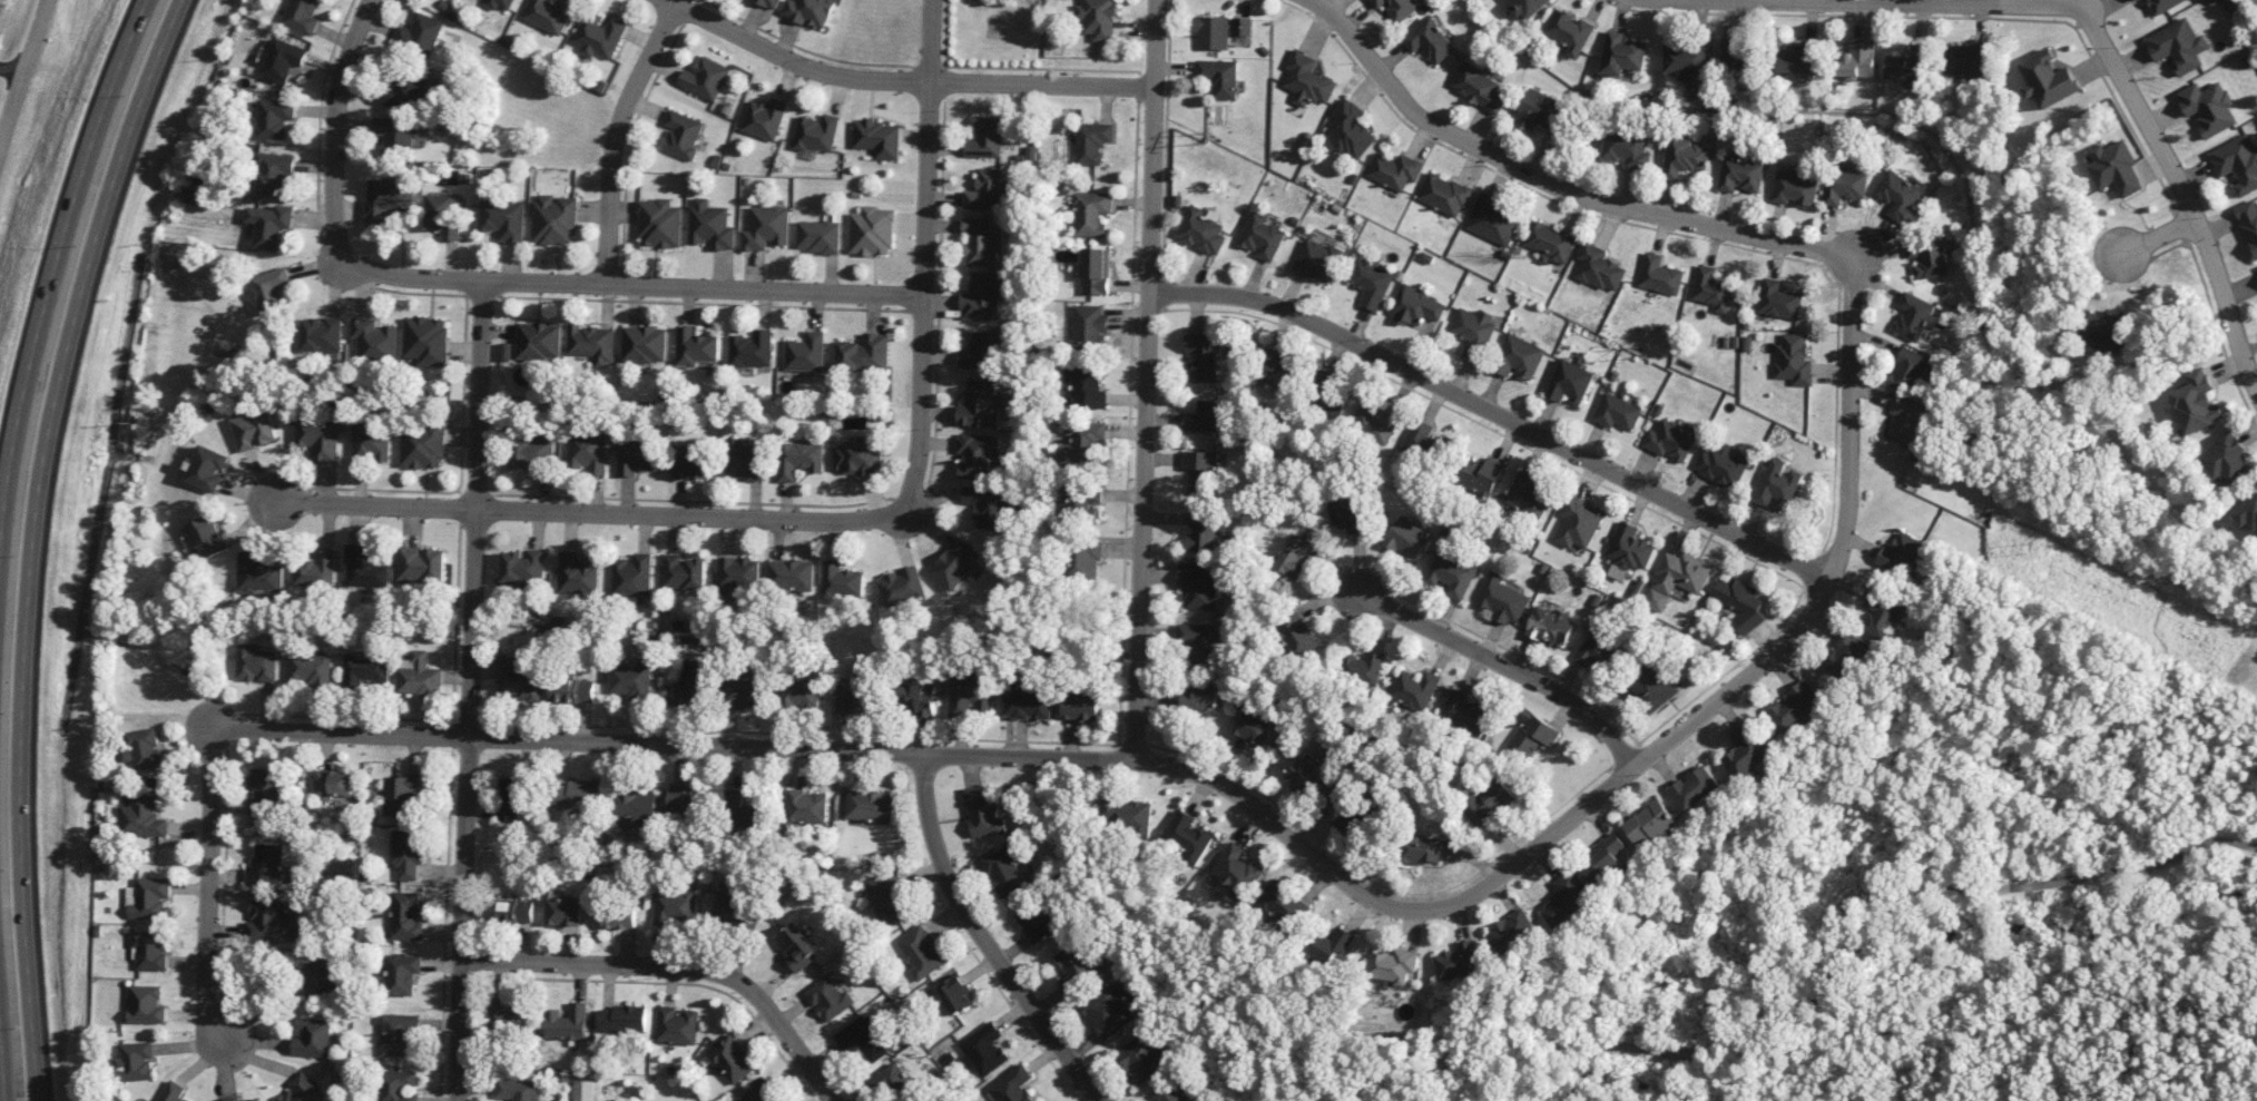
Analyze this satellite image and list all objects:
building: (2136, 0)
building: (771, 2)
road: (1894, 2)
building: (500, 3)
building: (2162, 4)
building: (1396, 8)
building: (1528, 9)
building: (809, 11)
building: (549, 14)
building: (302, 16)
building: (1097, 19)
building: (1240, 26)
building: (1211, 31)
building: (1571, 31)
building: (599, 35)
building: (420, 36)
building: (1431, 40)
building: (2178, 46)
building: (1625, 53)
building: (1739, 58)
building: (1800, 58)
building: (284, 59)
building: (1688, 59)
building: (1969, 59)
building: (1858, 60)
building: (1910, 65)
road: (13, 68)
road: (24, 75)
building: (1218, 77)
building: (705, 78)
road: (902, 79)
building: (2049, 79)
building: (1306, 80)
building: (1479, 87)
building: (403, 90)
building: (2208, 107)
building: (1537, 109)
building: (276, 118)
building: (764, 118)
road: (334, 129)
building: (1347, 130)
building: (817, 132)
building: (398, 134)
building: (681, 134)
road: (615, 137)
building: (988, 137)
building: (879, 138)
building: (1091, 141)
power tower: (1207, 141)
building: (1627, 149)
building: (1031, 153)
building: (1685, 157)
building: (2238, 163)
building: (2116, 168)
building: (1394, 171)
building: (275, 173)
building: (1740, 174)
road: (2175, 179)
road: (1551, 183)
building: (1844, 186)
building: (1795, 189)
building: (985, 190)
building: (1443, 194)
building: (1900, 197)
building: (386, 198)
building: (1090, 213)
building: (444, 215)
building: (503, 219)
building: (555, 219)
building: (1493, 220)
building: (2248, 223)
building: (659, 224)
building: (271, 225)
building: (710, 225)
building: (766, 227)
building: (1201, 229)
building: (872, 230)
building: (818, 236)
building: (1262, 236)
building: (981, 242)
building: (1549, 242)
road: (2145, 242)
road: (924, 256)
building: (1931, 257)
building: (1317, 260)
building: (1599, 267)
building: (1096, 271)
road: (57, 272)
building: (1659, 275)
building: (1371, 282)
road: (632, 284)
building: (272, 289)
building: (1711, 289)
building: (983, 296)
building: (1777, 299)
building: (1416, 306)
building: (1915, 316)
building: (1088, 326)
building: (1473, 331)
building: (2106, 332)
building: (322, 334)
building: (426, 340)
building: (375, 341)
building: (539, 341)
building: (592, 343)
building: (645, 344)
building: (696, 347)
building: (752, 348)
building: (982, 348)
building: (806, 352)
building: (864, 353)
power tower: (1631, 353)
building: (1201, 356)
building: (1518, 356)
building: (1793, 360)
building: (1278, 370)
building: (1910, 371)
road: (1145, 380)
building: (1569, 381)
building: (1085, 386)
building: (2197, 403)
building: (980, 404)
building: (1331, 404)
road: (1494, 411)
building: (1617, 412)
building: (1204, 416)
road: (1847, 420)
building: (1376, 422)
building: (1908, 422)
building: (255, 430)
building: (321, 438)
building: (1668, 441)
building: (371, 442)
building: (1081, 442)
building: (1420, 442)
building: (423, 445)
building: (532, 452)
building: (588, 452)
building: (637, 455)
building: (975, 455)
building: (858, 456)
building: (799, 459)
building: (693, 460)
building: (744, 460)
building: (2226, 460)
building: (1723, 464)
building: (208, 468)
building: (1200, 470)
building: (1479, 474)
building: (1777, 484)
building: (1528, 494)
building: (1081, 501)
building: (989, 505)
road: (578, 511)
building: (2247, 513)
building: (1346, 517)
building: (1578, 522)
building: (207, 537)
building: (1406, 538)
road: (38, 540)
power tower: (2025, 549)
building: (1628, 551)
building: (1901, 553)
building: (1294, 557)
building: (1083, 559)
building: (956, 563)
building: (421, 564)
building: (365, 568)
building: (523, 568)
building: (317, 570)
building: (684, 572)
building: (738, 573)
building: (259, 574)
building: (577, 574)
building: (792, 574)
building: (1451, 574)
building: (631, 576)
building: (1677, 578)
building: (843, 581)
building: (1197, 586)
building: (904, 587)
building: (1502, 599)
building: (1741, 602)
building: (1880, 615)
building: (1550, 625)
building: (1298, 635)
building: (1200, 640)
building: (1598, 651)
building: (1847, 656)
road: (1493, 658)
building: (256, 663)
building: (1363, 668)
building: (313, 670)
building: (364, 670)
building: (418, 675)
building: (517, 679)
building: (630, 679)
building: (690, 682)
building: (1655, 687)
road: (470, 689)
building: (1415, 689)
building: (572, 690)
building: (742, 692)
building: (798, 692)
building: (971, 692)
building: (850, 694)
building: (916, 698)
building: (1200, 698)
building: (1029, 702)
building: (1081, 706)
building: (1795, 706)
building: (1465, 711)
building: (1254, 728)
building: (1532, 734)
building: (143, 747)
building: (1747, 753)
road: (1106, 759)
building: (1302, 777)
building: (334, 784)
building: (1694, 788)
building: (265, 792)
building: (400, 794)
building: (578, 795)
building: (510, 798)
building: (685, 799)
building: (1489, 803)
building: (632, 806)
building: (806, 806)
building: (869, 806)
building: (739, 812)
building: (983, 813)
building: (1342, 814)
building: (1129, 815)
building: (143, 817)
building: (1650, 824)
building: (1188, 835)
building: (1421, 849)
building: (408, 853)
building: (1602, 859)
building: (266, 865)
building: (1238, 869)
building: (1003, 871)
road: (1870, 895)
building: (149, 897)
building: (886, 897)
building: (1567, 897)
road: (207, 898)
building: (1286, 904)
building: (674, 907)
building: (511, 911)
building: (732, 911)
building: (565, 912)
building: (406, 916)
building: (619, 916)
building: (268, 918)
building: (1037, 921)
building: (1511, 931)
road: (981, 938)
building: (1332, 945)
building: (796, 946)
building: (150, 950)
building: (919, 952)
building: (1458, 961)
building: (1074, 964)
building: (1393, 965)
road: (677, 966)
building: (402, 973)
building: (321, 977)
building: (954, 994)
building: (828, 999)
building: (147, 1004)
building: (1108, 1011)
building: (507, 1018)
building: (621, 1019)
building: (567, 1022)
building: (676, 1025)
building: (398, 1033)
building: (314, 1038)
building: (861, 1038)
building: (981, 1050)
building: (732, 1059)
building: (1139, 1059)
building: (135, 1061)
road: (1, 1075)
building: (889, 1083)
building: (399, 1085)
building: (1011, 1085)
building: (518, 1089)
building: (304, 1090)
building: (582, 1090)
building: (174, 1092)
building: (758, 1093)
building: (1169, 1093)
building: (230, 1099)
building: (255, 1100)

